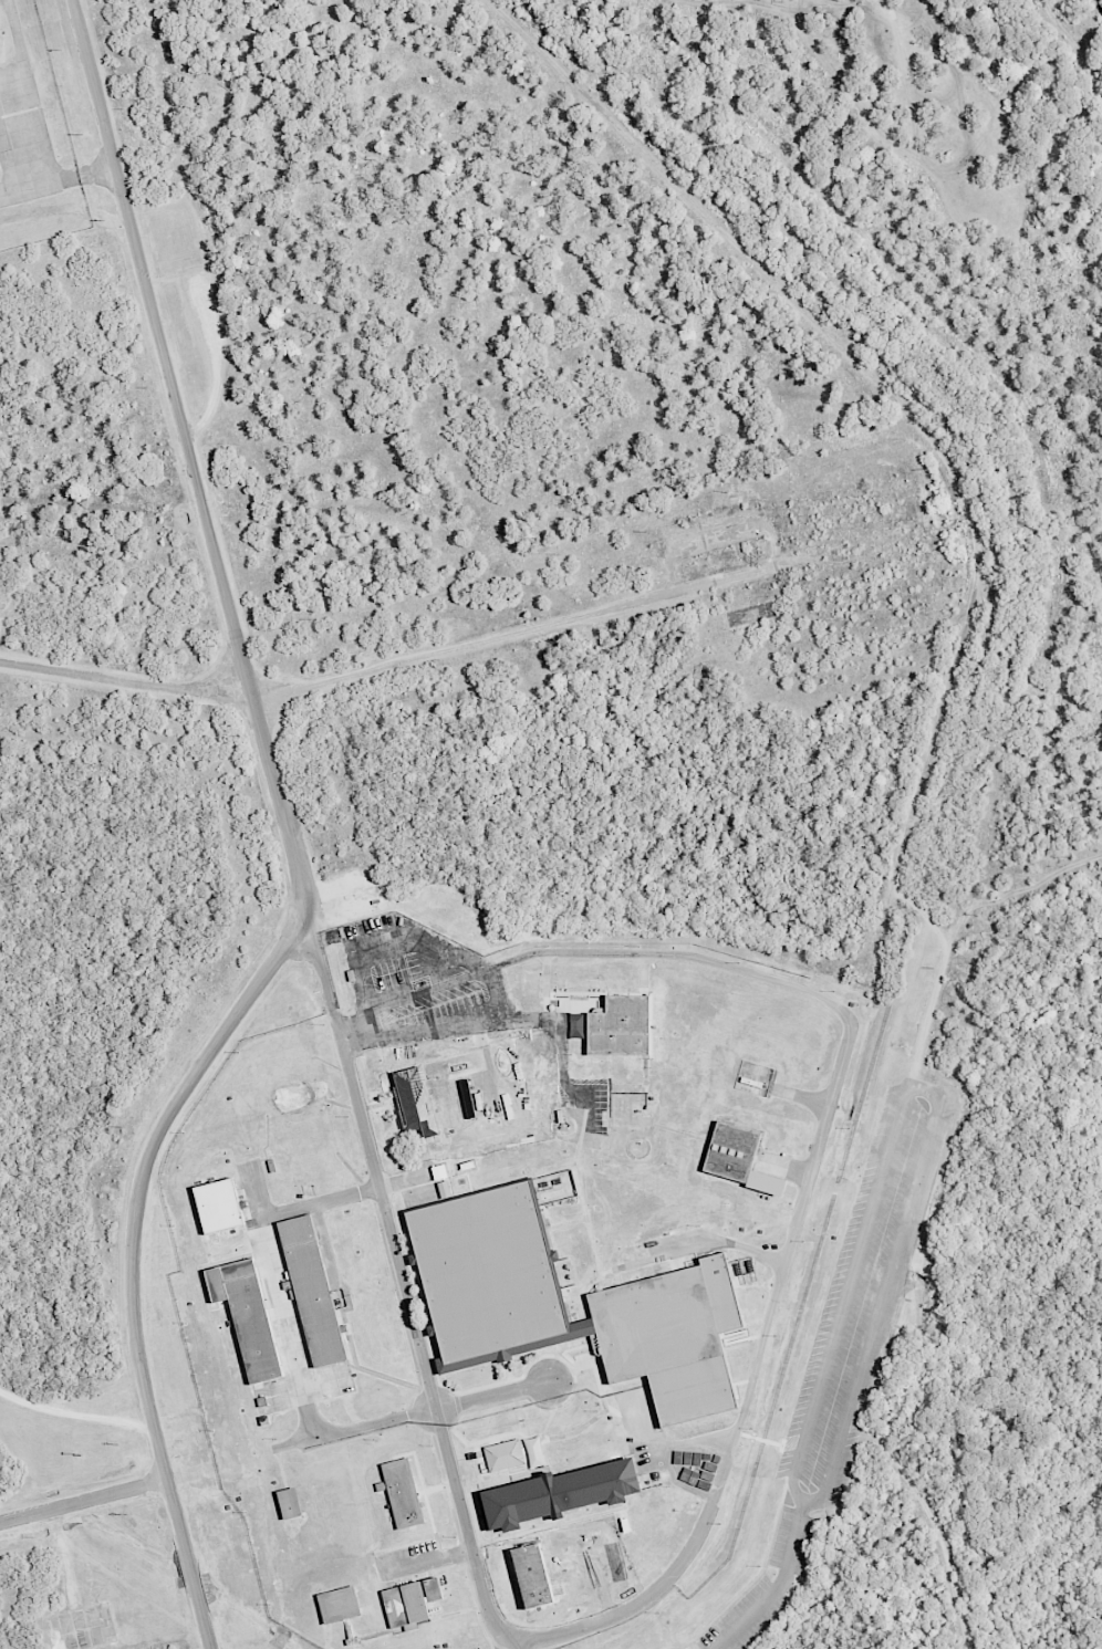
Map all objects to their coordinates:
building: (840, 0)
road: (58, 185)
road: (950, 467)
road: (398, 666)
road: (293, 841)
road: (386, 948)
road: (418, 993)
road: (450, 1017)
building: (618, 1025)
building: (277, 1079)
building: (416, 1099)
building: (300, 1151)
building: (736, 1157)
road: (373, 1159)
road: (351, 1197)
building: (218, 1204)
road: (800, 1206)
building: (485, 1271)
parking lot: (865, 1287)
building: (311, 1291)
building: (246, 1316)
road: (287, 1328)
building: (670, 1337)
road: (75, 1413)
road: (410, 1413)
building: (503, 1455)
building: (401, 1491)
building: (558, 1492)
road: (799, 1500)
road: (84, 1503)
building: (290, 1503)
road: (932, 1517)
road: (467, 1534)
parking lot: (794, 1541)
building: (531, 1576)
road: (777, 1586)
building: (410, 1603)
building: (340, 1605)
parking lot: (745, 1617)

